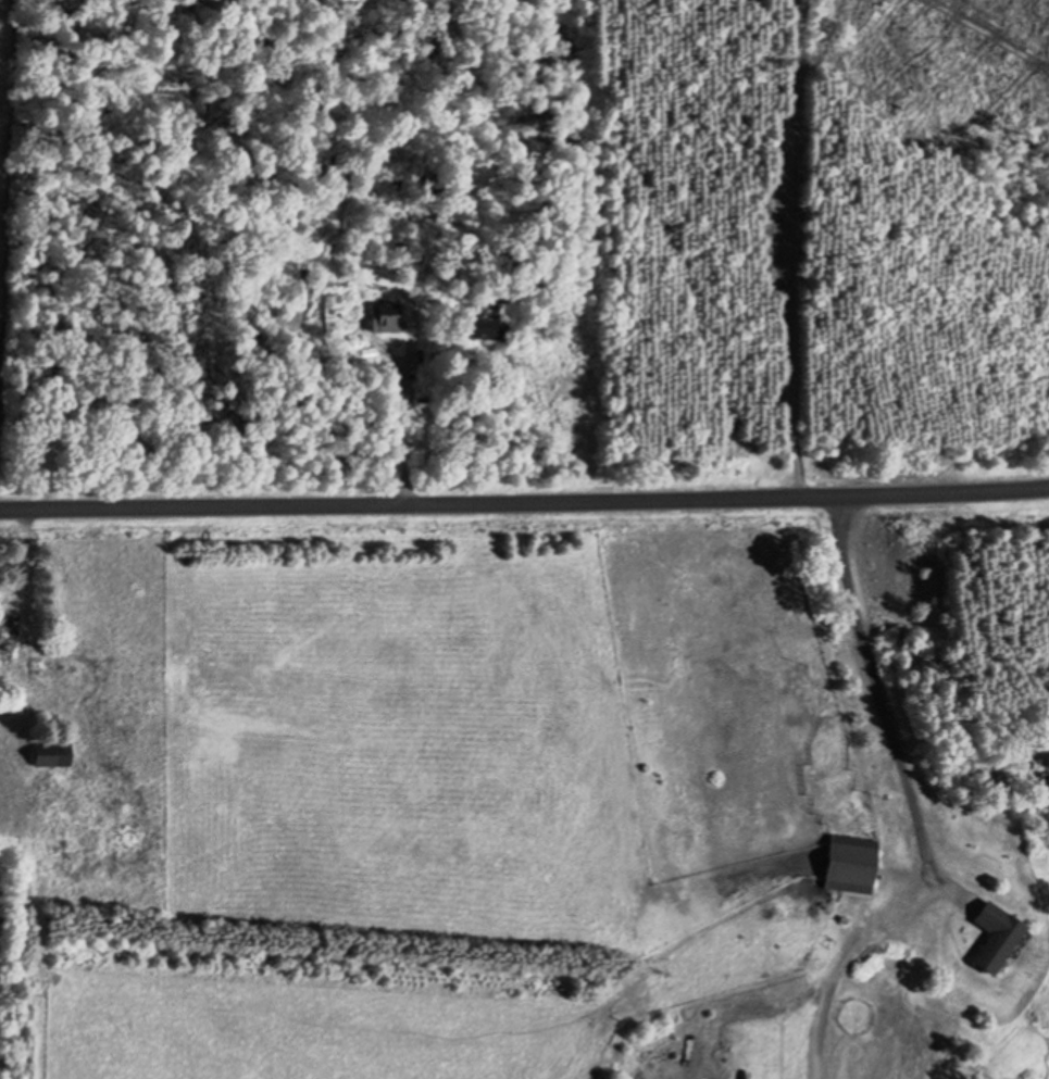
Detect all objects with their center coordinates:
building: (567, 50)
building: (345, 162)
building: (330, 303)
building: (385, 317)
building: (485, 319)
road: (384, 350)
road: (407, 390)
road: (524, 482)
building: (8, 636)
building: (51, 755)
building: (850, 866)
building: (994, 939)

